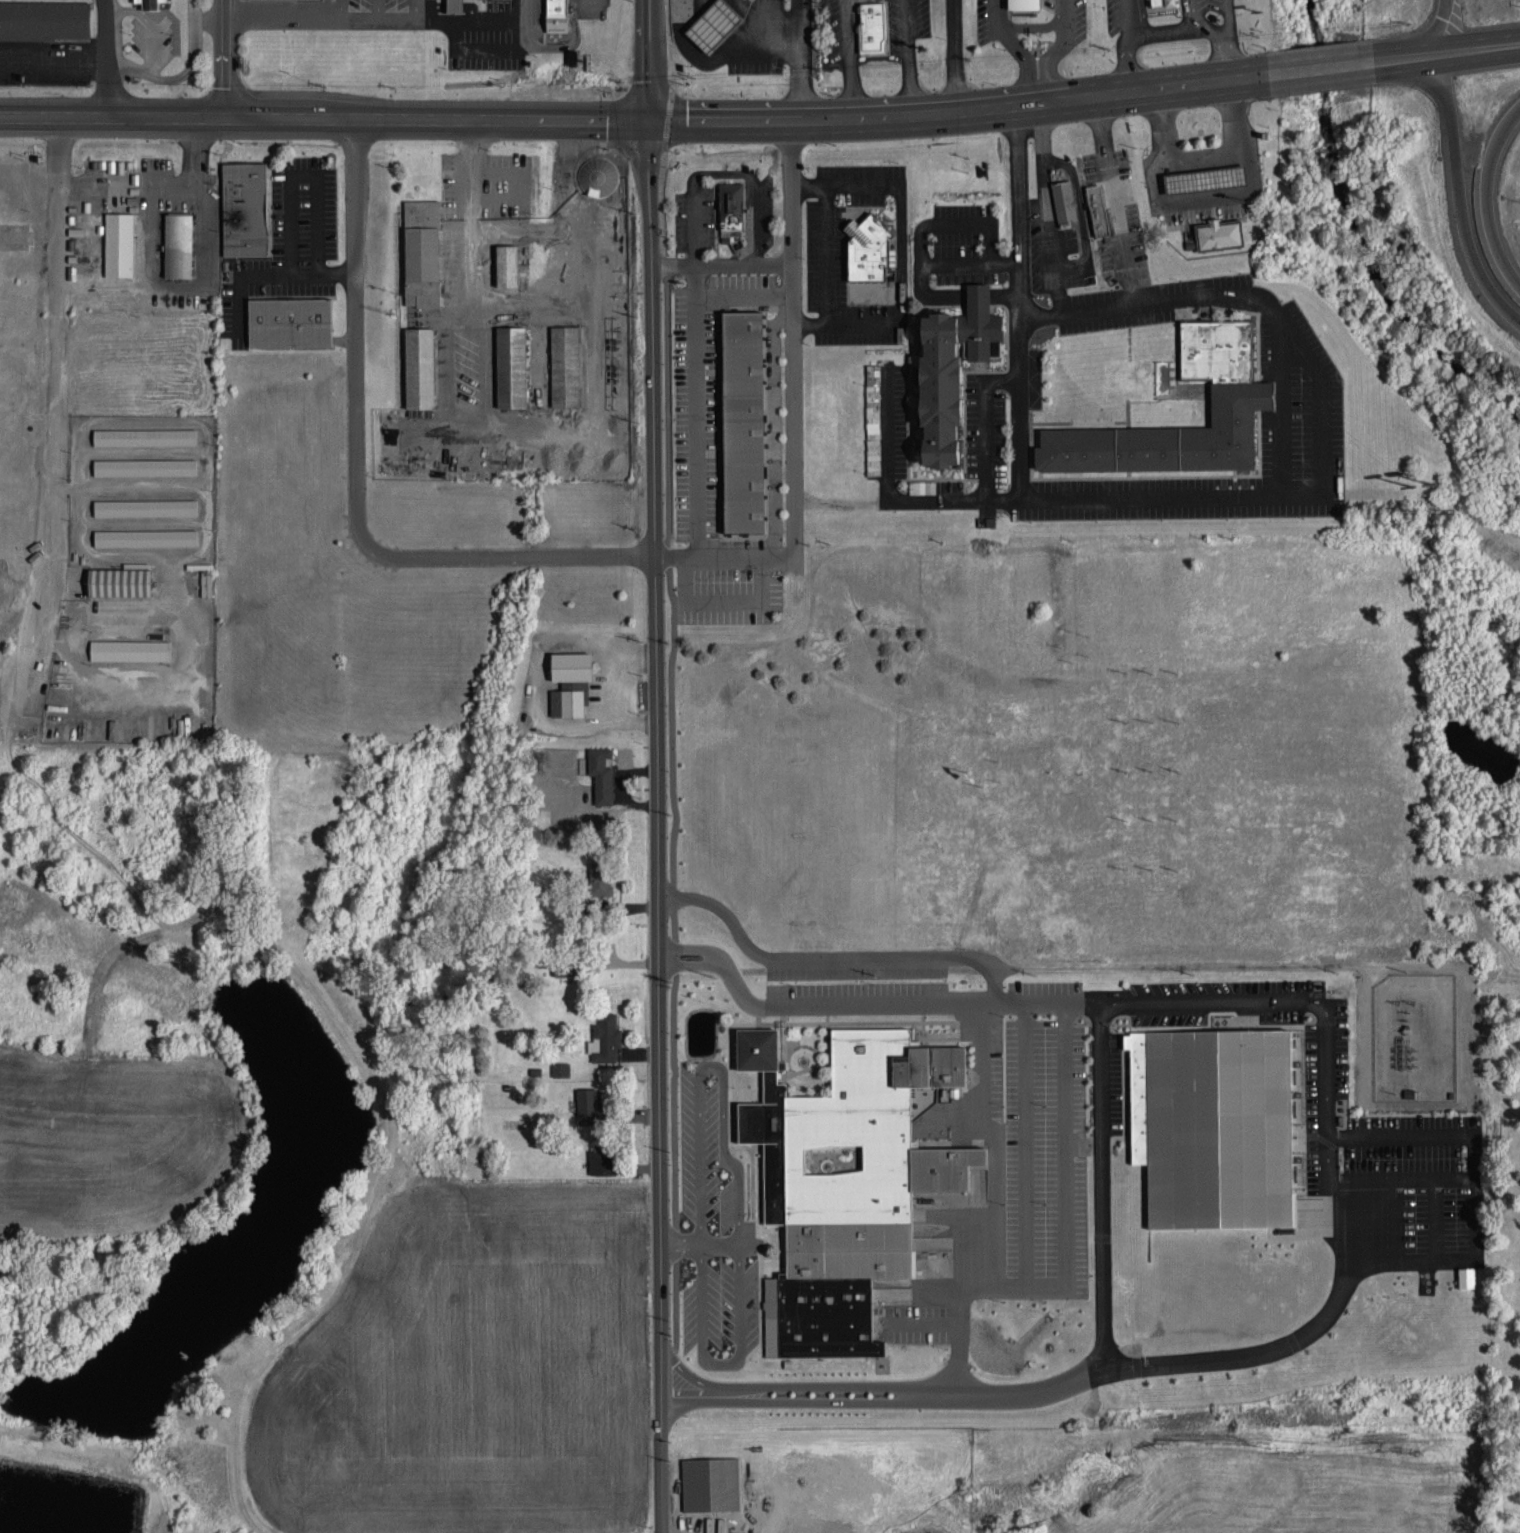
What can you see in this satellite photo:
building: (267, 0)
gas station: (267, 0)
building: (1163, 2)
building: (455, 5)
building: (151, 6)
parking lot: (377, 6)
road: (342, 10)
road: (380, 10)
road: (418, 10)
road: (525, 11)
building: (1044, 12)
building: (557, 15)
building: (45, 18)
road: (376, 21)
road: (150, 25)
building: (713, 26)
building: (872, 26)
road: (649, 27)
road: (1429, 36)
road: (1012, 42)
road: (1062, 42)
road: (1513, 44)
road: (1513, 47)
road: (792, 48)
road: (487, 50)
road: (1450, 53)
road: (194, 56)
road: (113, 58)
road: (228, 59)
road: (1379, 62)
road: (130, 65)
road: (1320, 69)
road: (649, 88)
road: (1039, 92)
road: (1016, 108)
road: (99, 117)
road: (377, 117)
road: (602, 119)
traffic signals: (649, 121)
road: (702, 121)
road: (302, 175)
building: (597, 175)
building: (1201, 181)
road: (755, 184)
road: (1458, 184)
road: (125, 186)
road: (1484, 198)
building: (1063, 202)
road: (1119, 202)
building: (731, 209)
road: (1046, 209)
building: (244, 211)
building: (1097, 211)
road: (1079, 213)
road: (955, 222)
road: (693, 226)
building: (1217, 236)
building: (119, 244)
parking lot: (962, 245)
building: (178, 247)
building: (867, 249)
building: (422, 252)
building: (508, 265)
road: (671, 265)
road: (740, 265)
road: (269, 274)
road: (920, 278)
road: (741, 294)
road: (1020, 303)
road: (1096, 309)
road: (1038, 314)
building: (290, 325)
building: (566, 365)
building: (512, 366)
building: (420, 367)
building: (952, 375)
building: (1243, 398)
road: (789, 404)
road: (1280, 408)
road: (694, 409)
road: (56, 414)
building: (743, 423)
parking lot: (1302, 428)
parking lot: (885, 432)
building: (145, 435)
building: (145, 466)
road: (1324, 472)
road: (355, 477)
road: (895, 498)
building: (145, 507)
building: (145, 536)
building: (120, 578)
road: (721, 598)
building: (130, 648)
building: (571, 680)
building: (599, 771)
road: (656, 826)
building: (600, 876)
road: (686, 948)
road: (685, 967)
building: (567, 968)
power substation: (1413, 1034)
building: (605, 1037)
building: (560, 1067)
building: (588, 1104)
building: (1215, 1124)
building: (603, 1160)
building: (847, 1178)
road: (1325, 1193)
road: (994, 1198)
building: (1467, 1275)
building: (905, 1293)
building: (710, 1486)
building: (771, 1520)

